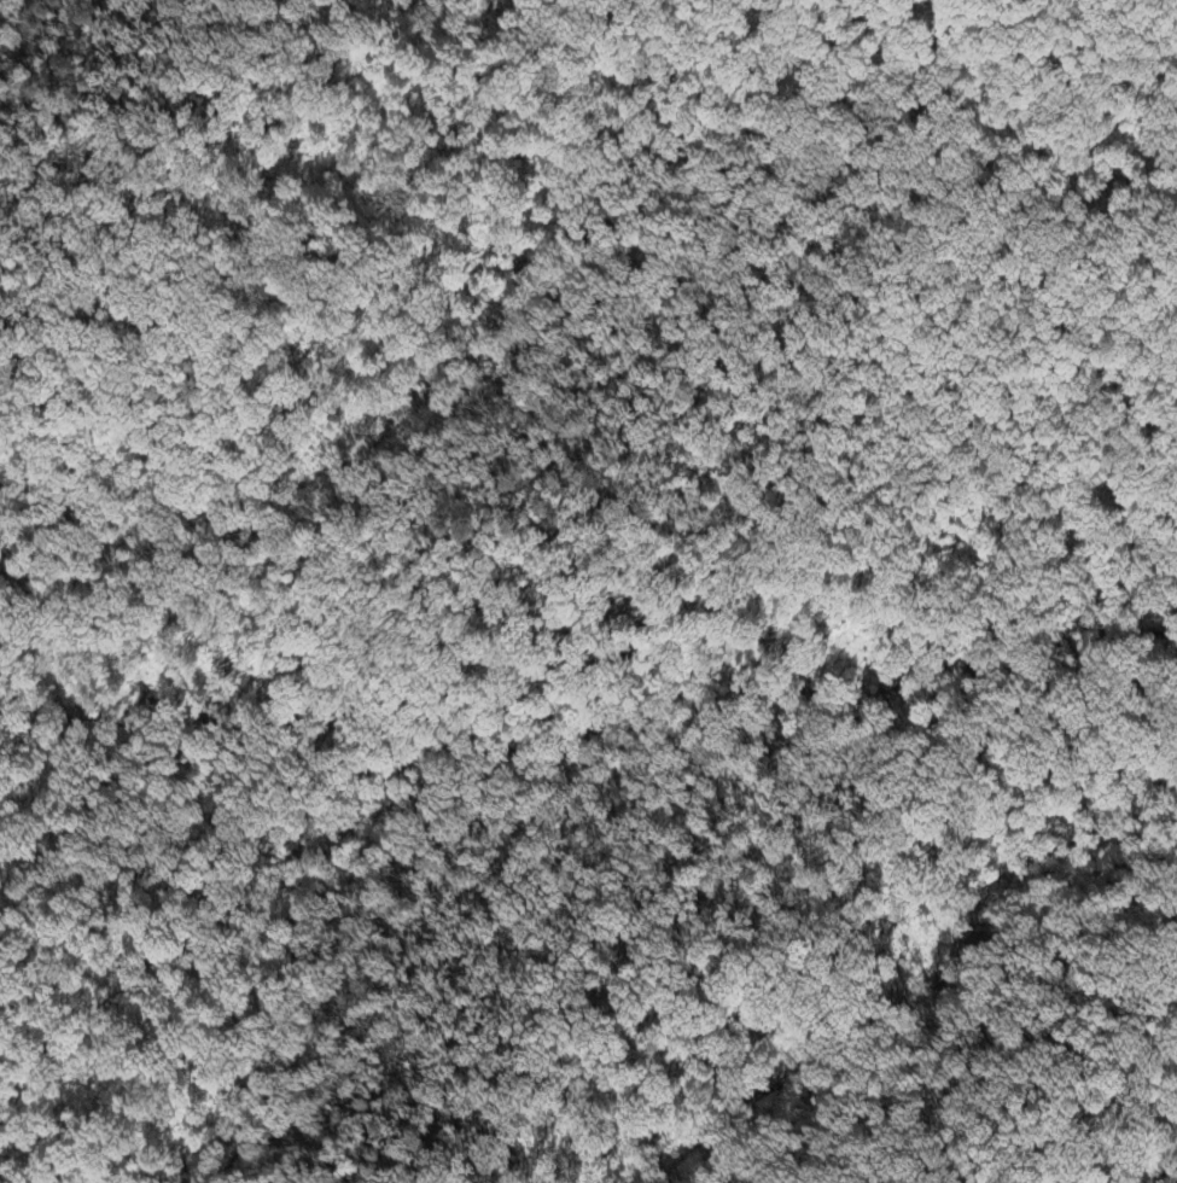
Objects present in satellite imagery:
park: (593, 594)

